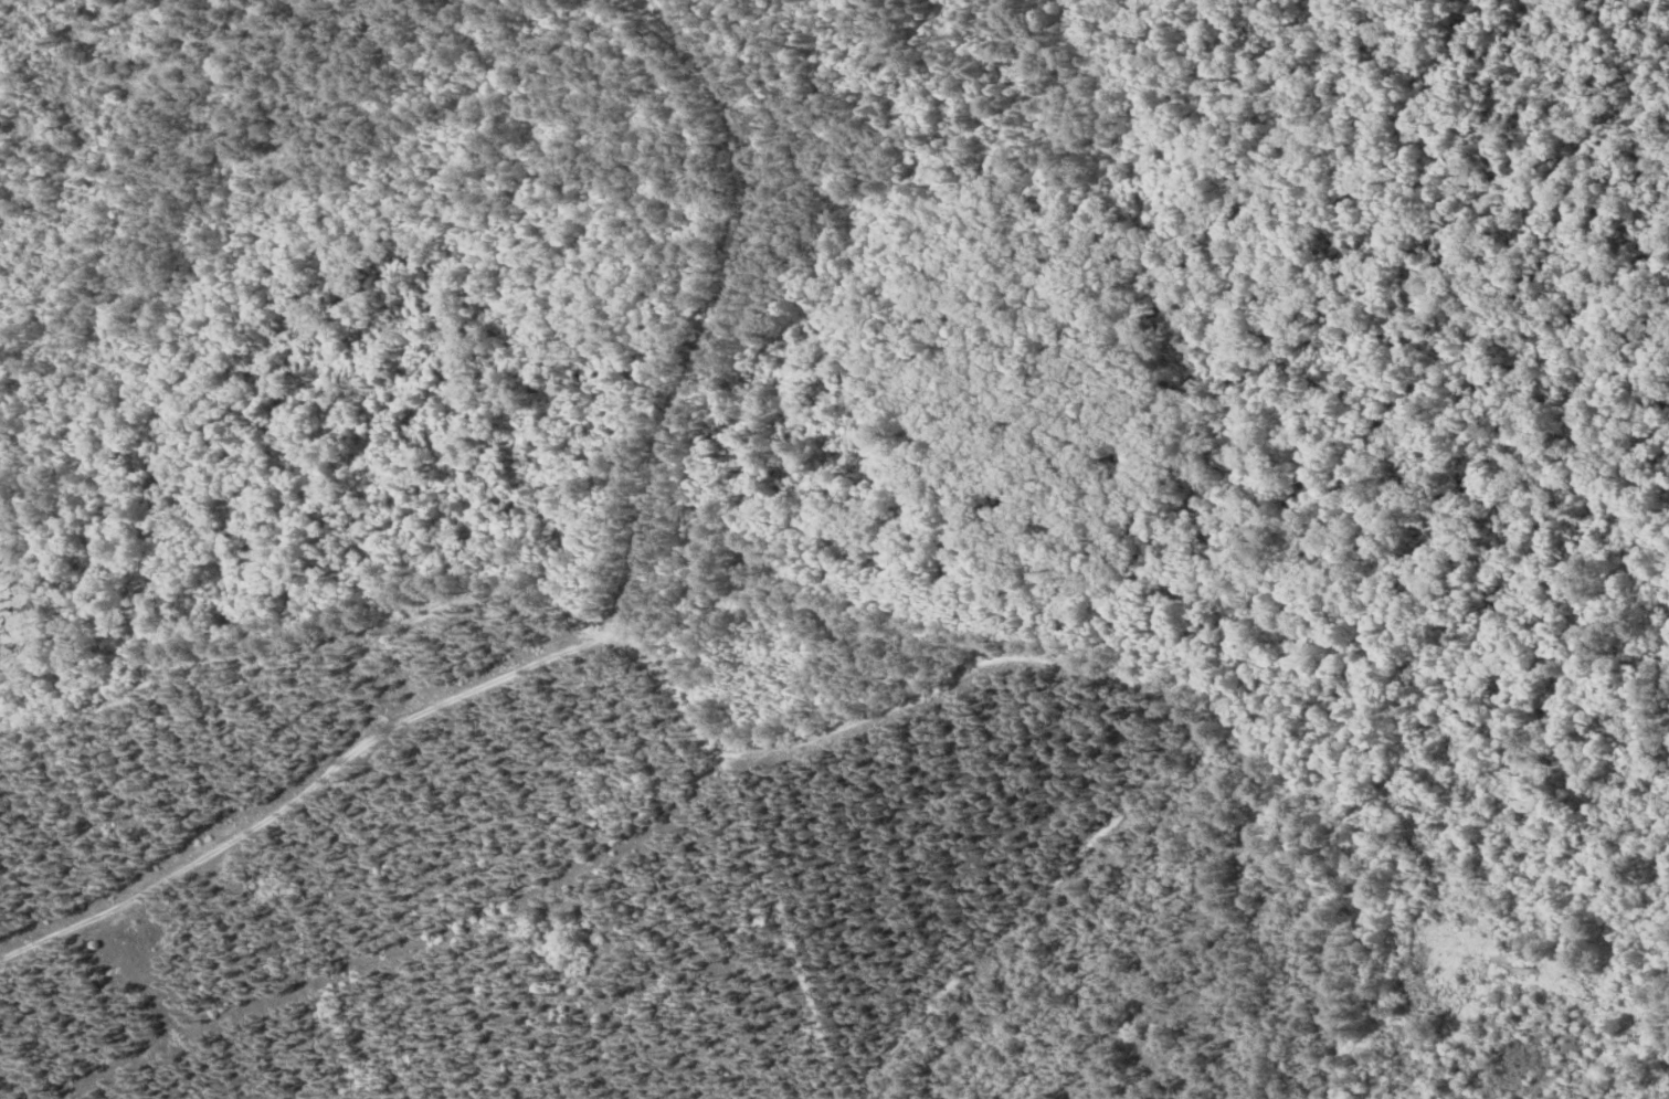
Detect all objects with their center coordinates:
road: (725, 307)
road: (305, 791)
road: (758, 844)
road: (848, 1096)

